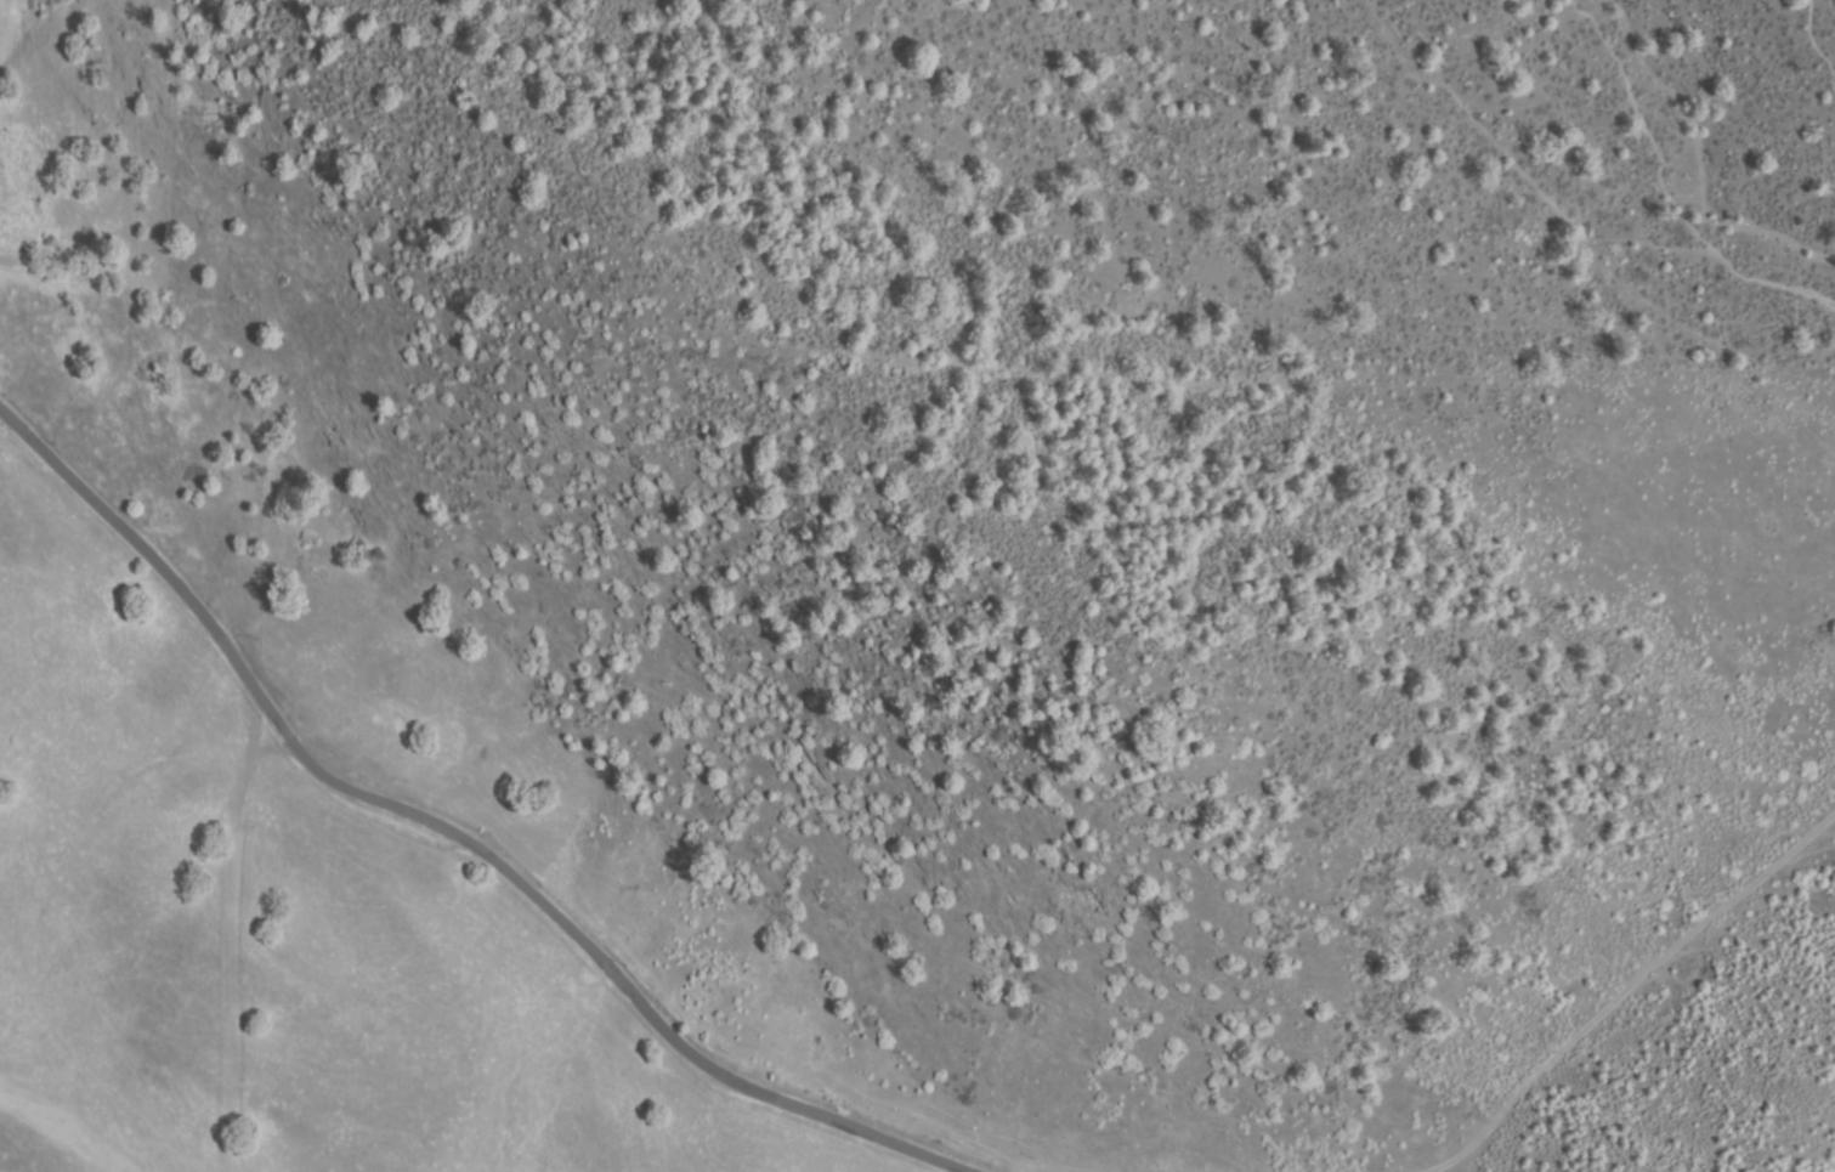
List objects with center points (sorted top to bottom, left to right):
road: (1824, 38)
road: (1664, 193)
building: (434, 622)
road: (454, 828)

